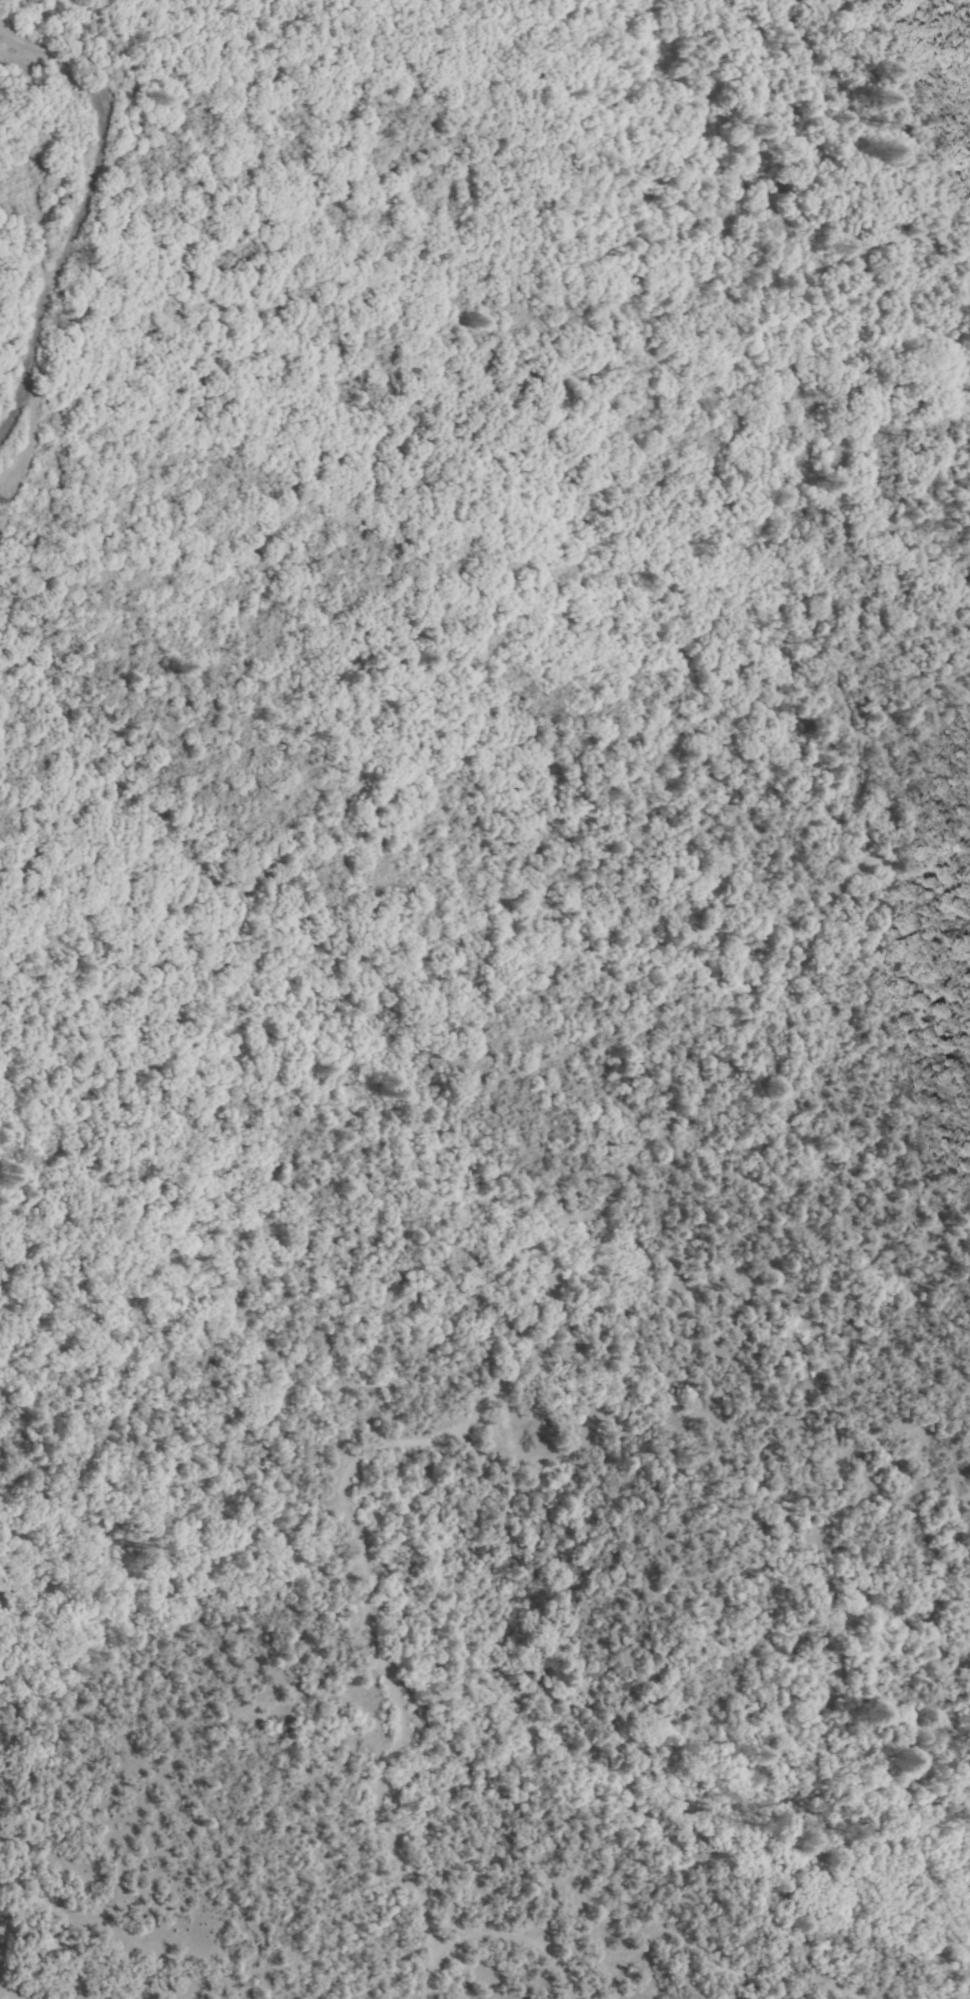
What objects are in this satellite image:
road: (49, 254)
building: (13, 1588)

